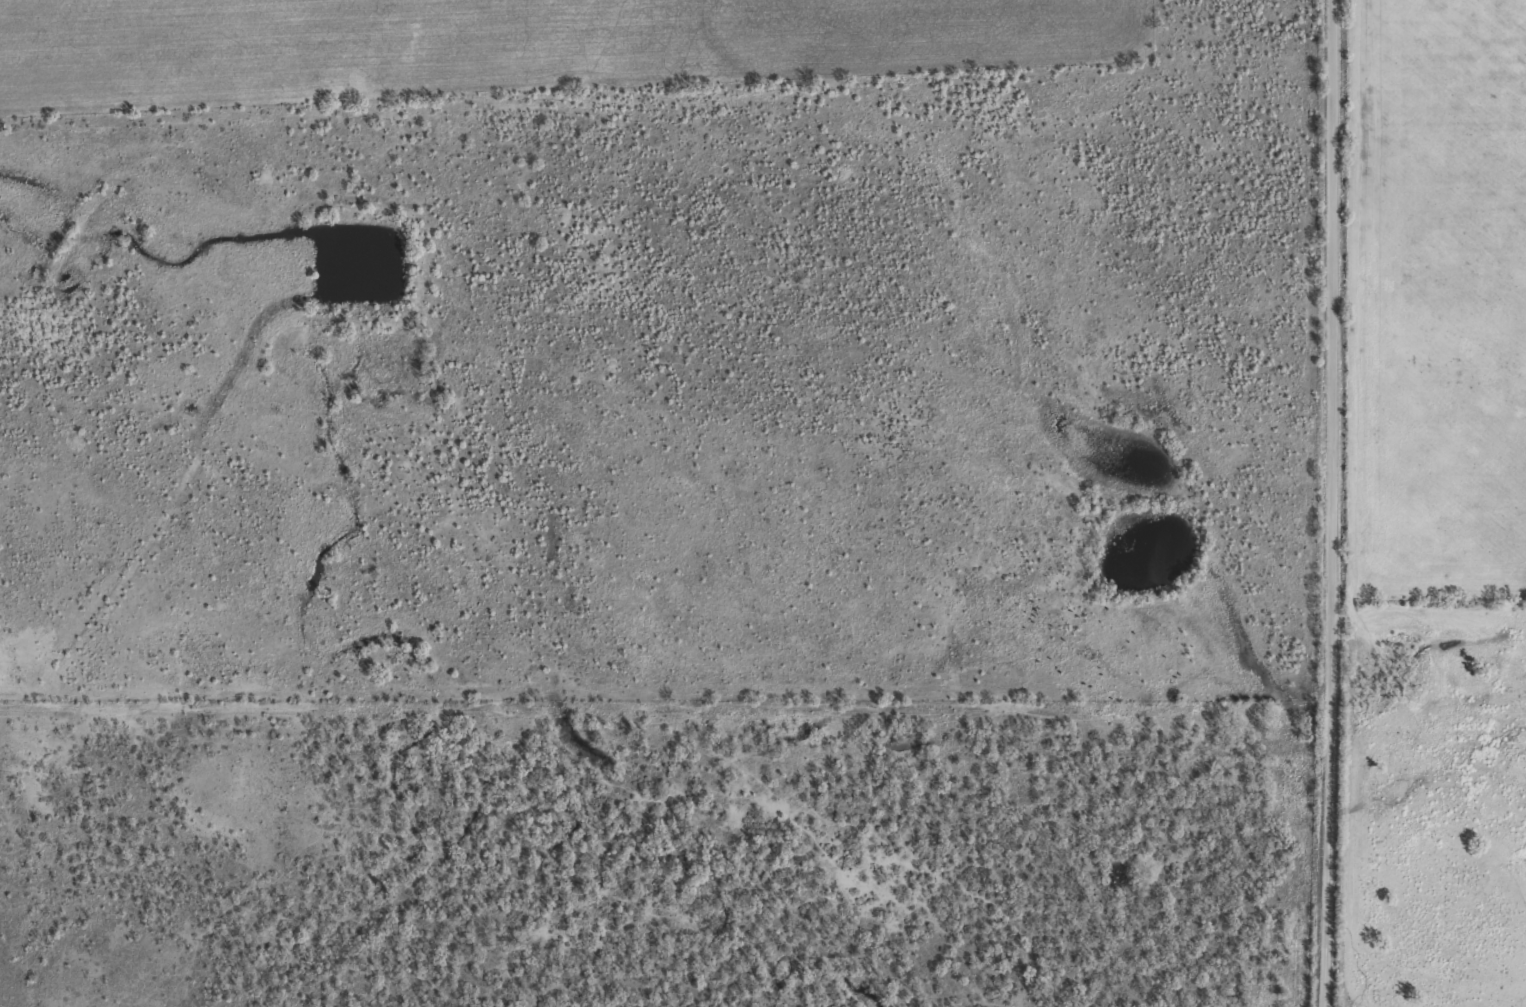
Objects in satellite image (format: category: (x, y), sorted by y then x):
road: (1338, 503)

